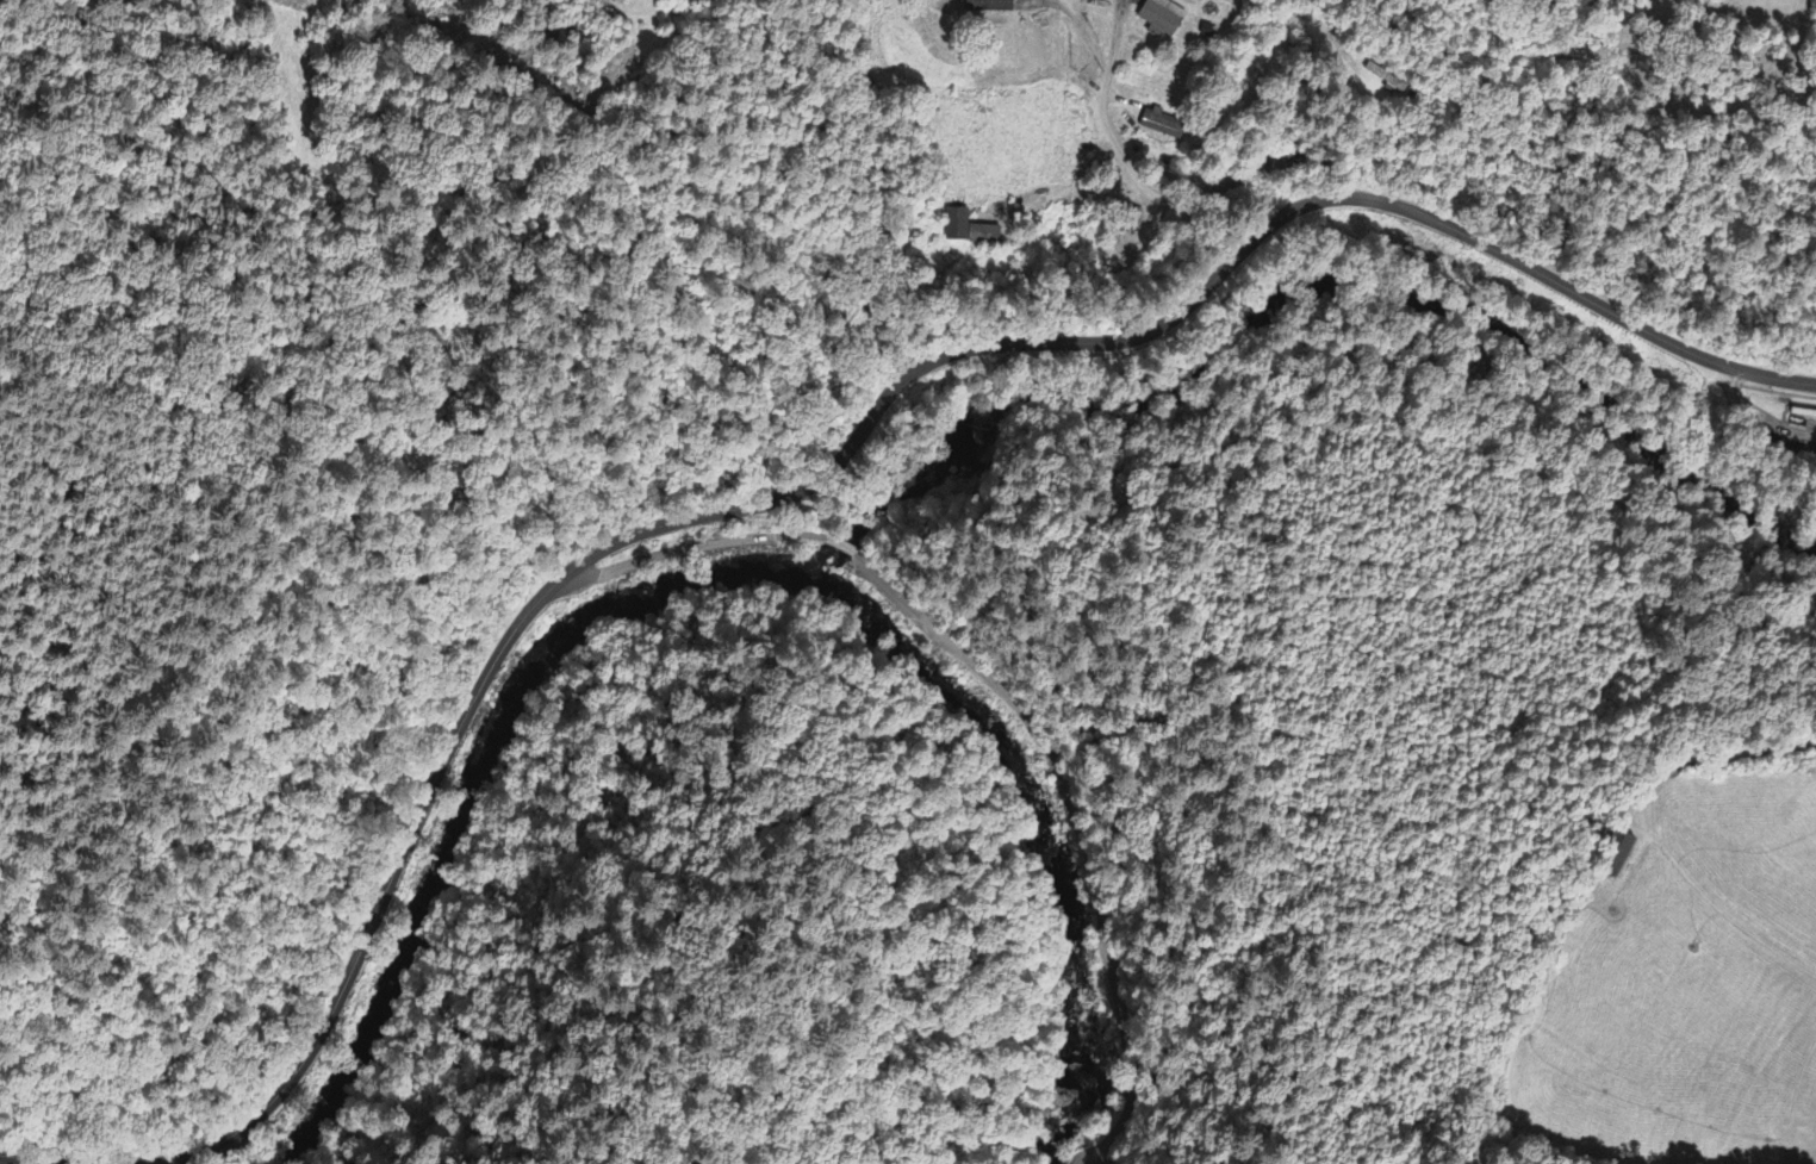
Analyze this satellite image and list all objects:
building: (622, 2)
road: (587, 17)
building: (1165, 18)
building: (1163, 127)
road: (1187, 199)
building: (970, 232)
road: (860, 430)
road: (840, 546)
road: (684, 550)
river: (692, 614)
road: (1078, 821)
river: (1012, 835)
river: (427, 896)
road: (31, 1158)

